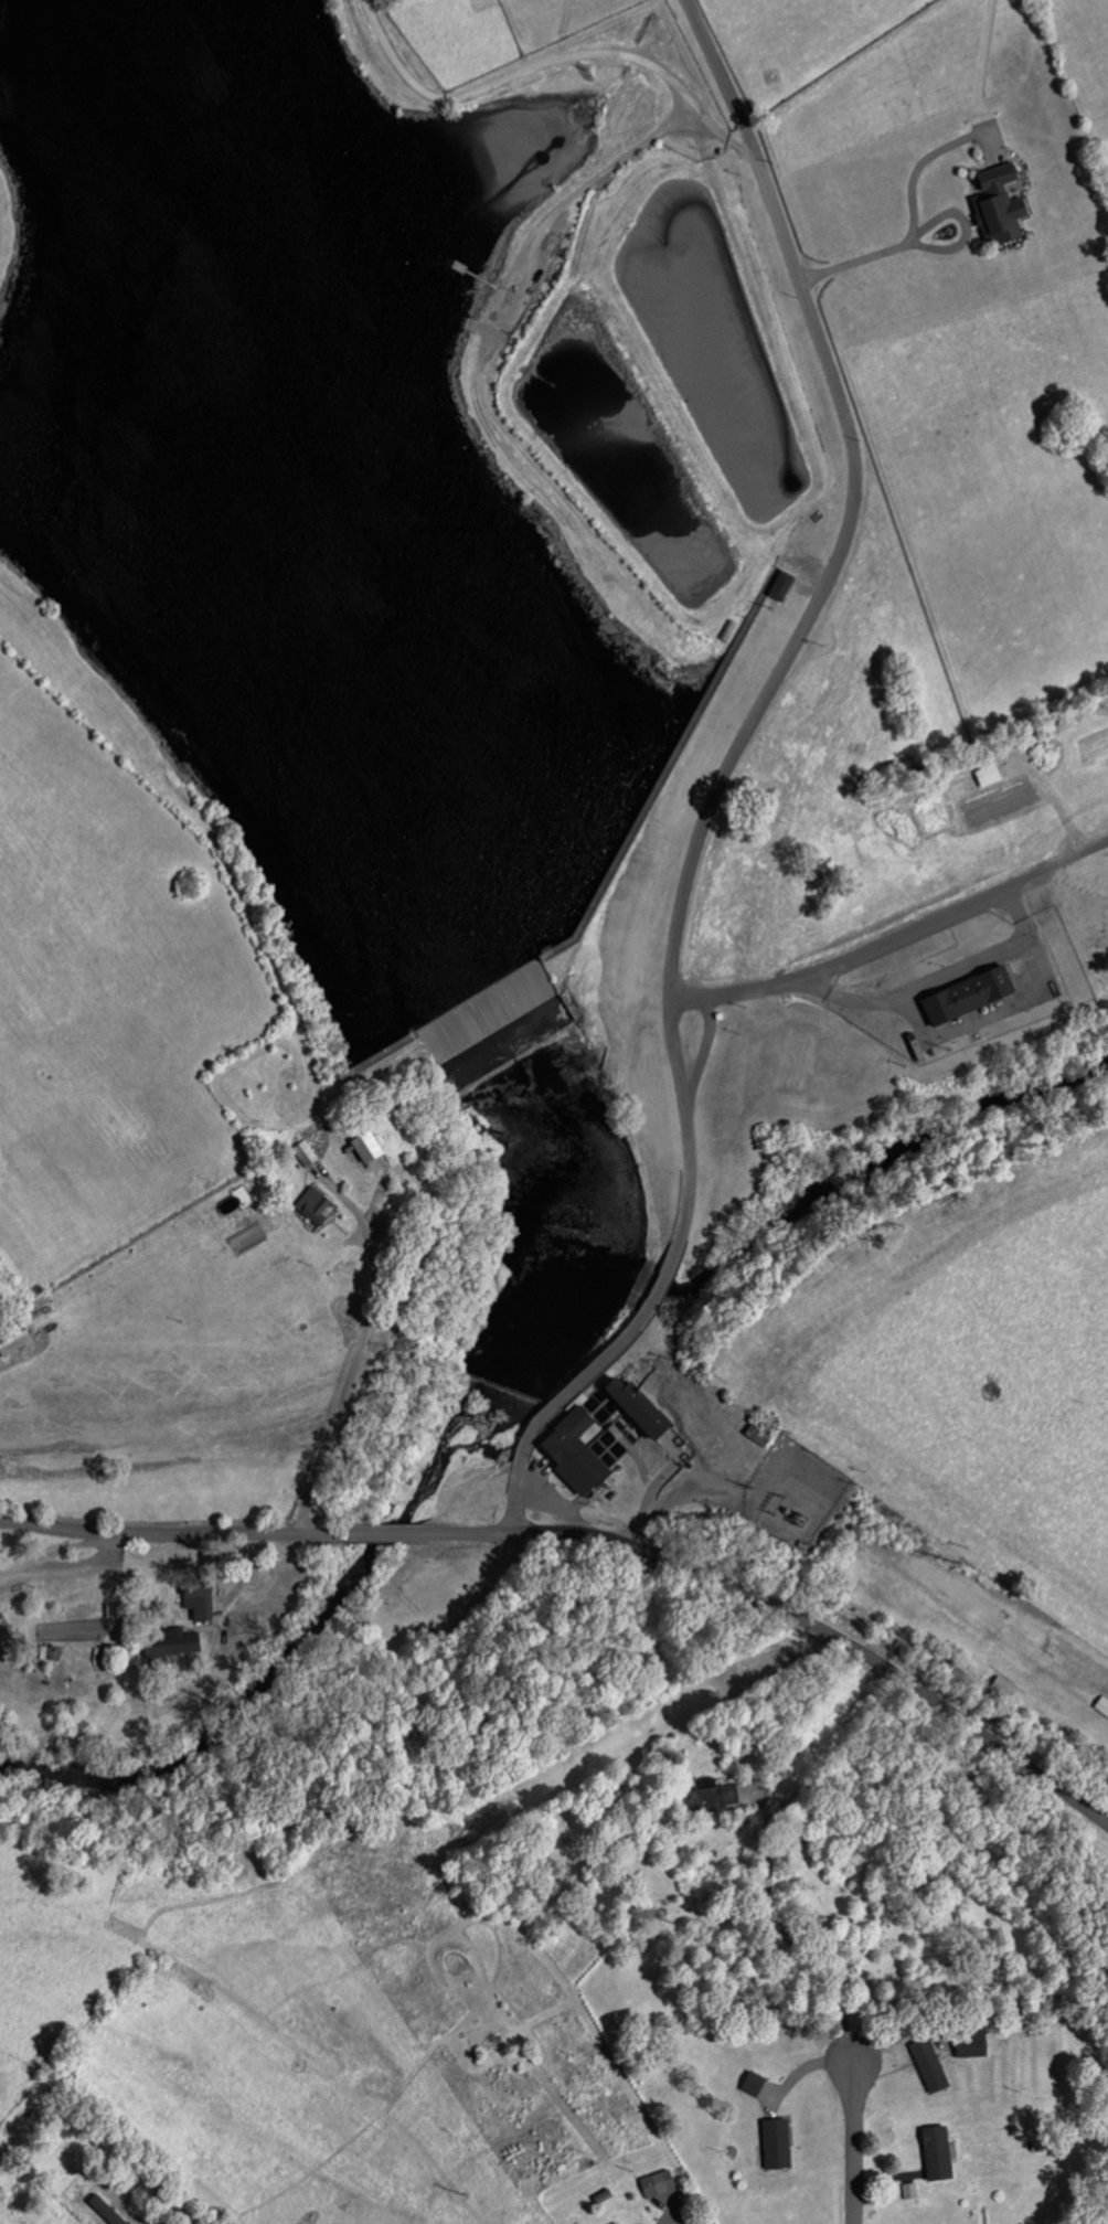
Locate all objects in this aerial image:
road: (550, 63)
road: (723, 76)
building: (995, 205)
road: (910, 226)
building: (778, 586)
road: (763, 704)
dam: (639, 810)
road: (894, 939)
road: (938, 986)
building: (963, 996)
dam: (375, 1053)
road: (702, 1055)
building: (362, 1148)
building: (302, 1153)
building: (312, 1207)
road: (662, 1284)
building: (11, 1339)
road: (345, 1380)
road: (561, 1405)
building: (635, 1408)
building: (571, 1454)
road: (387, 1533)
road: (179, 1535)
road: (60, 1552)
building: (195, 1603)
road: (787, 1609)
building: (169, 1643)
building: (1002, 1689)
building: (711, 1798)
road: (782, 1935)
building: (968, 2045)
building: (926, 2065)
building: (750, 2084)
building: (774, 2143)
road: (852, 2143)
building: (934, 2153)
building: (656, 2184)
building: (908, 2191)
building: (103, 2211)
road: (130, 2215)
road: (675, 2218)

